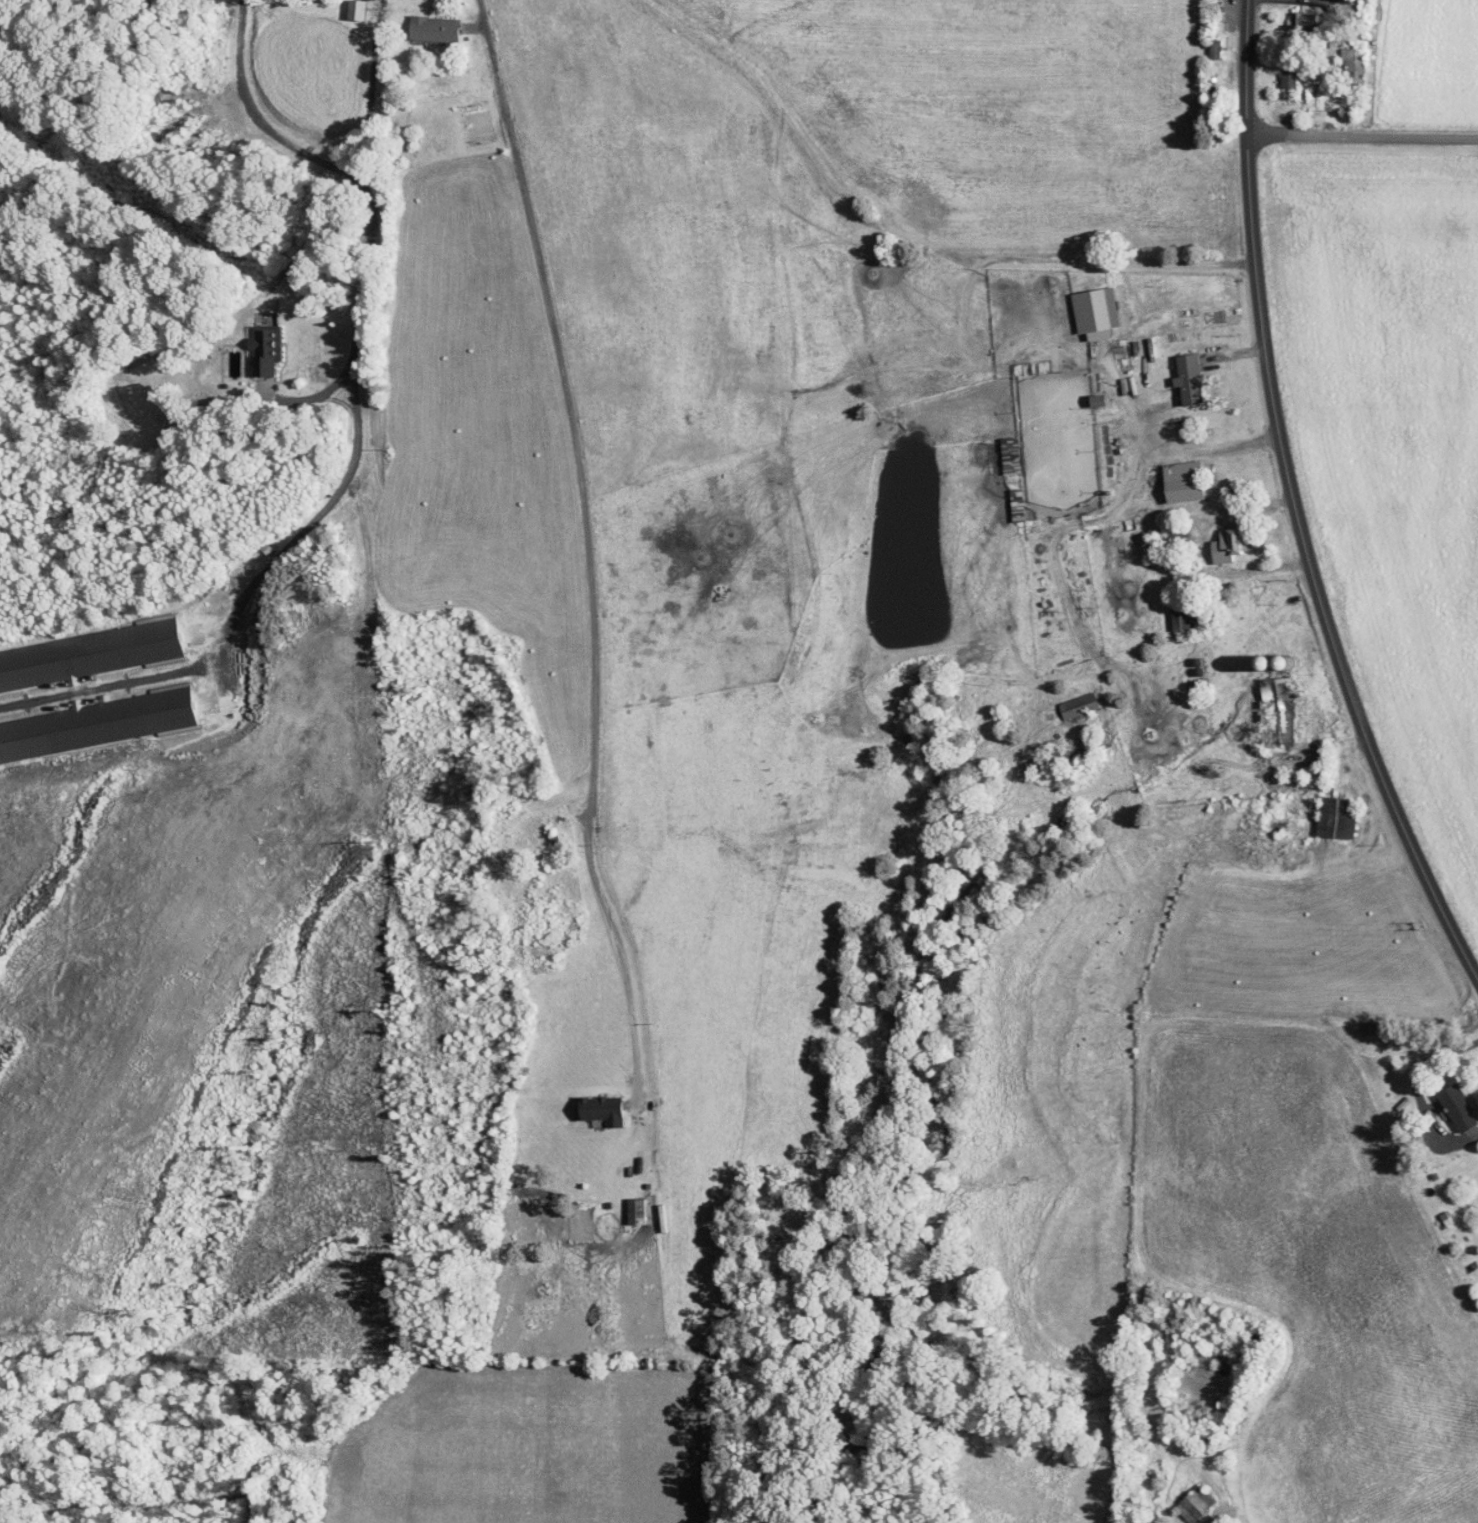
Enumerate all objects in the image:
building: (356, 10)
building: (1304, 24)
building: (434, 29)
building: (1215, 49)
building: (1353, 64)
building: (1290, 79)
road: (257, 121)
road: (1362, 135)
building: (1091, 314)
building: (264, 351)
road: (354, 361)
building: (1189, 380)
building: (1098, 401)
road: (574, 442)
road: (1201, 449)
building: (1010, 456)
building: (1183, 482)
building: (1016, 505)
road: (1295, 505)
building: (1227, 544)
building: (1180, 617)
building: (90, 654)
building: (1078, 705)
building: (1277, 711)
building: (99, 723)
building: (1336, 816)
road: (629, 993)
building: (1458, 1108)
building: (602, 1109)
building: (636, 1210)
building: (1195, 1502)

